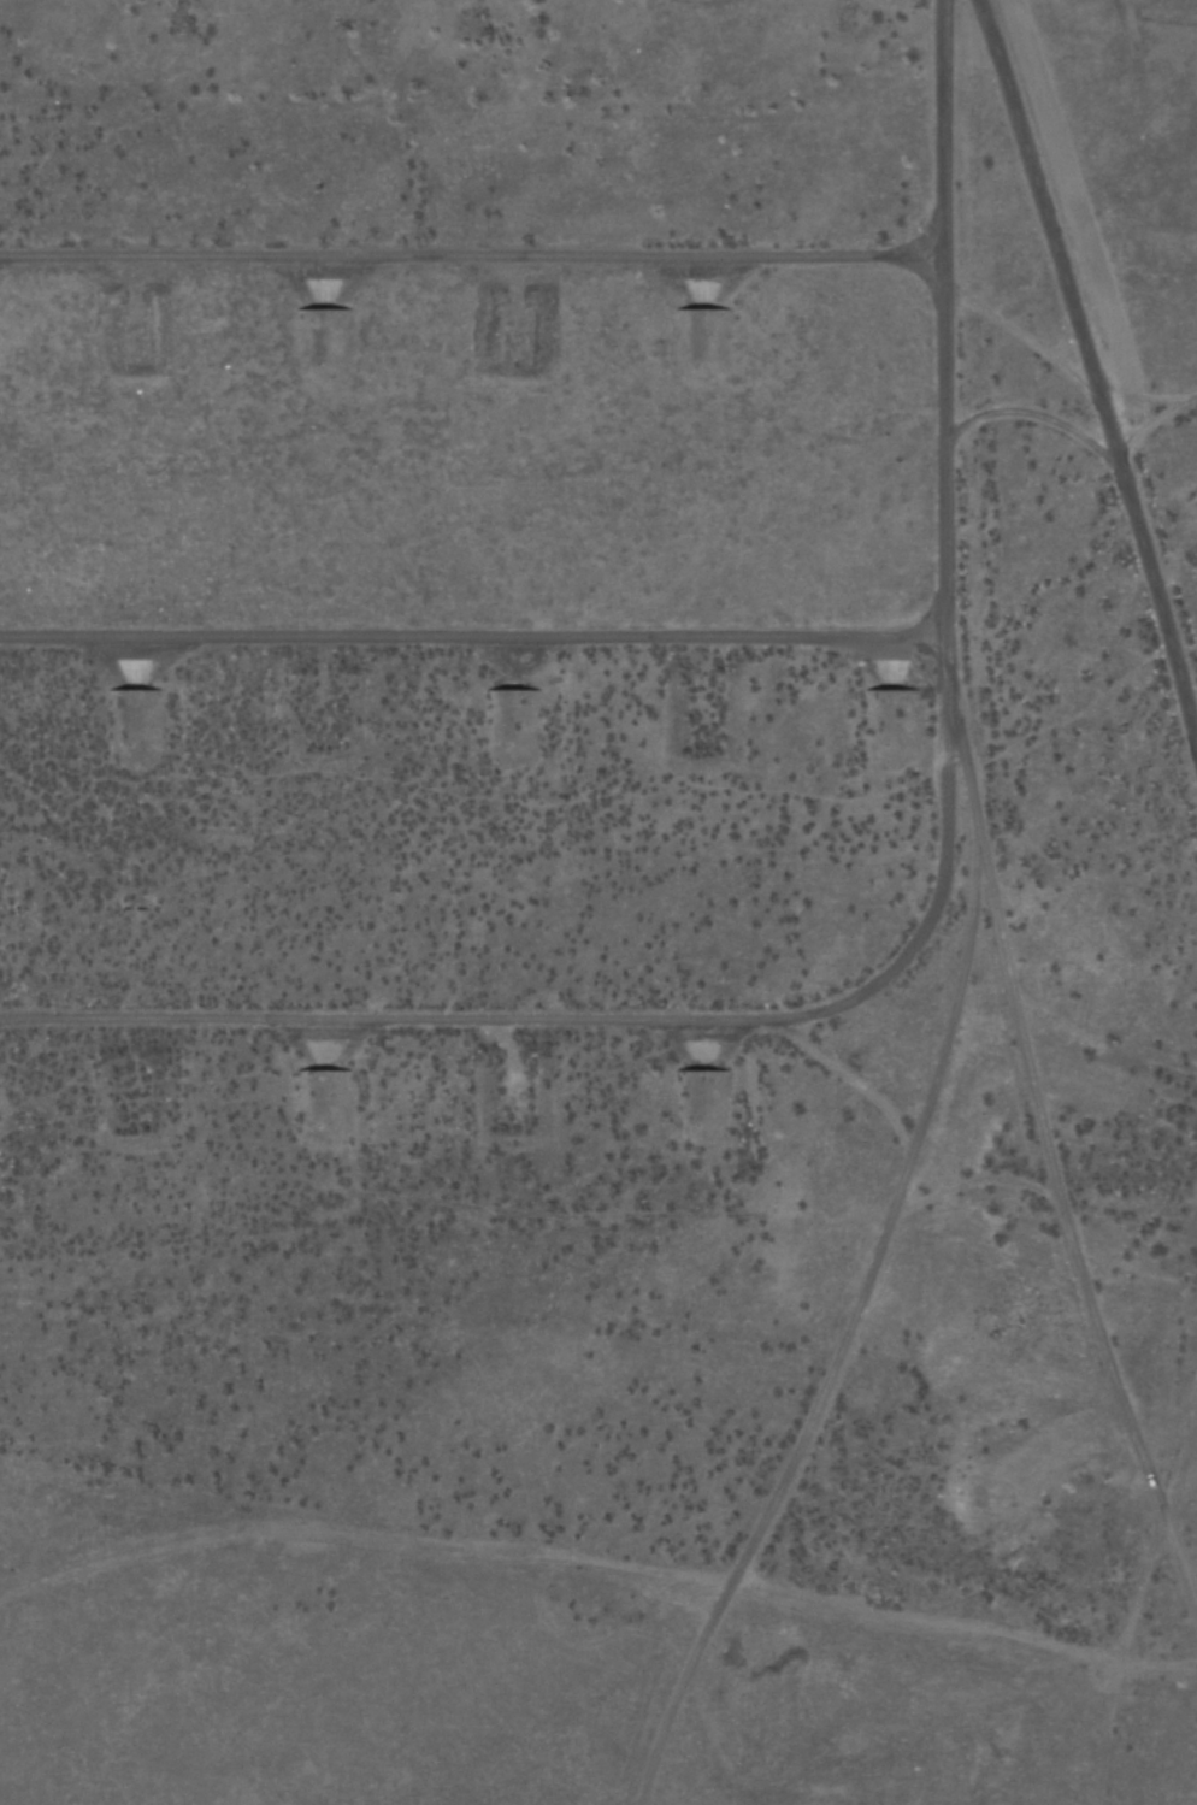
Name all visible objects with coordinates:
road: (461, 230)
road: (924, 309)
road: (1077, 391)
road: (955, 769)

